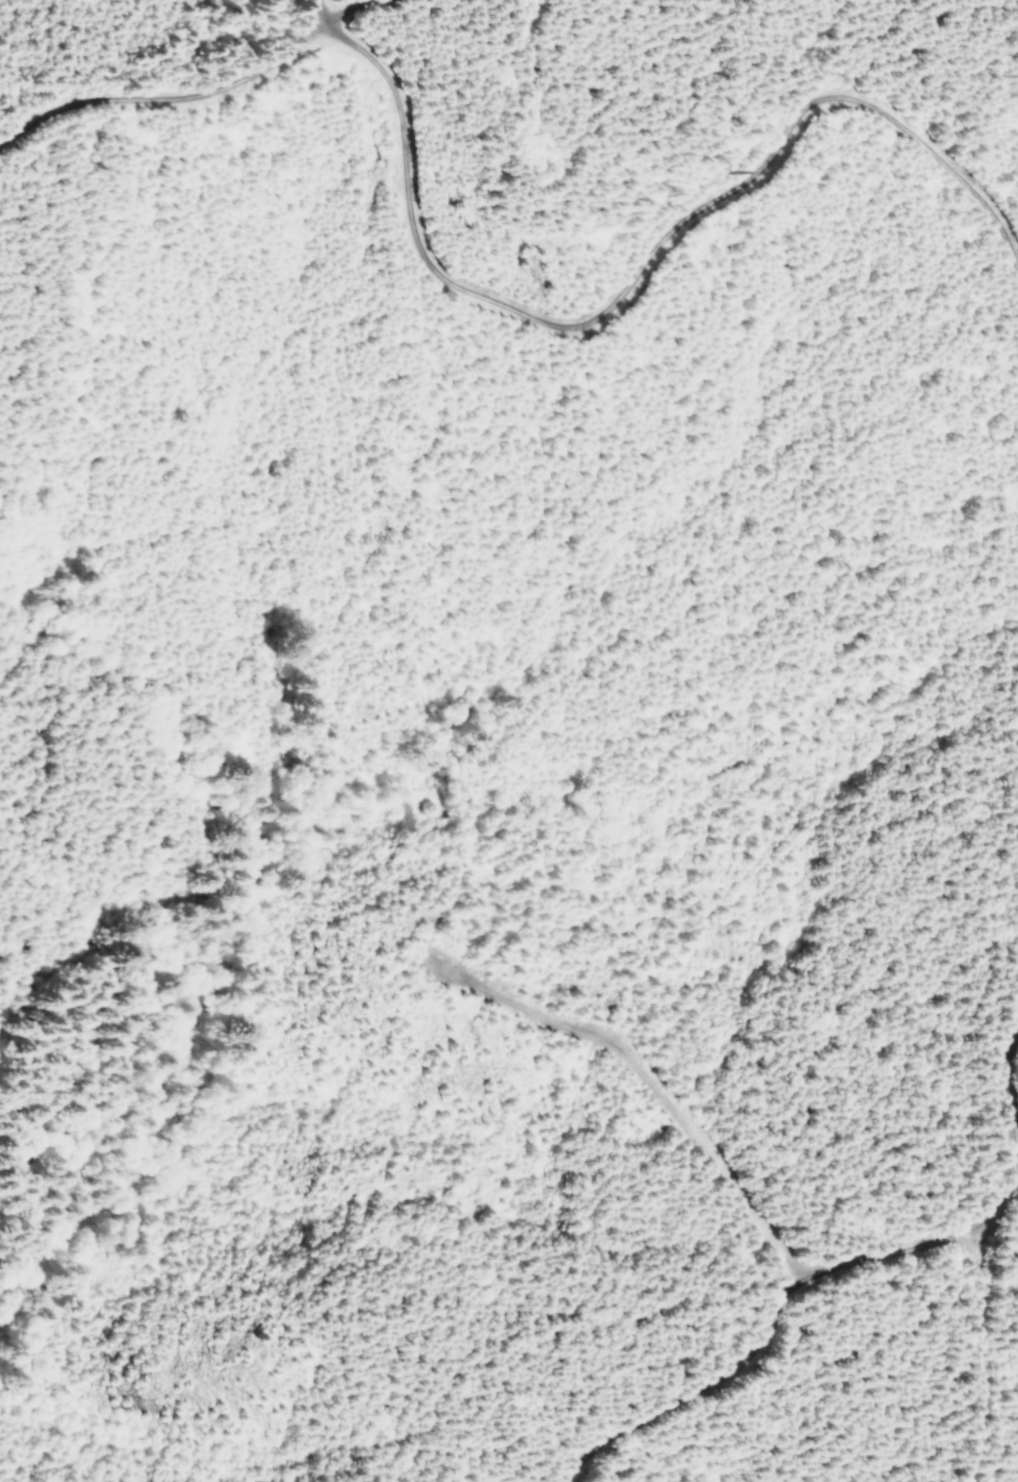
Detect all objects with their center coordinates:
road: (161, 61)
road: (922, 602)
road: (490, 1465)

